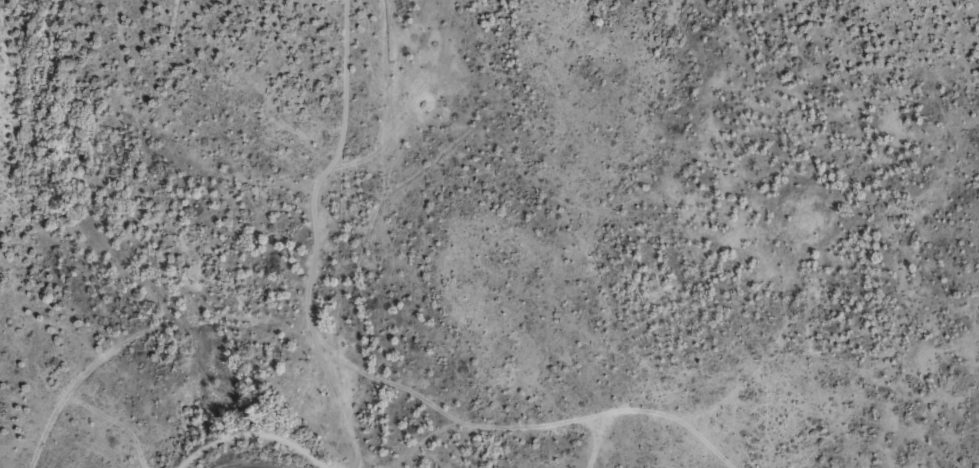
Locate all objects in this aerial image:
road: (280, 278)

